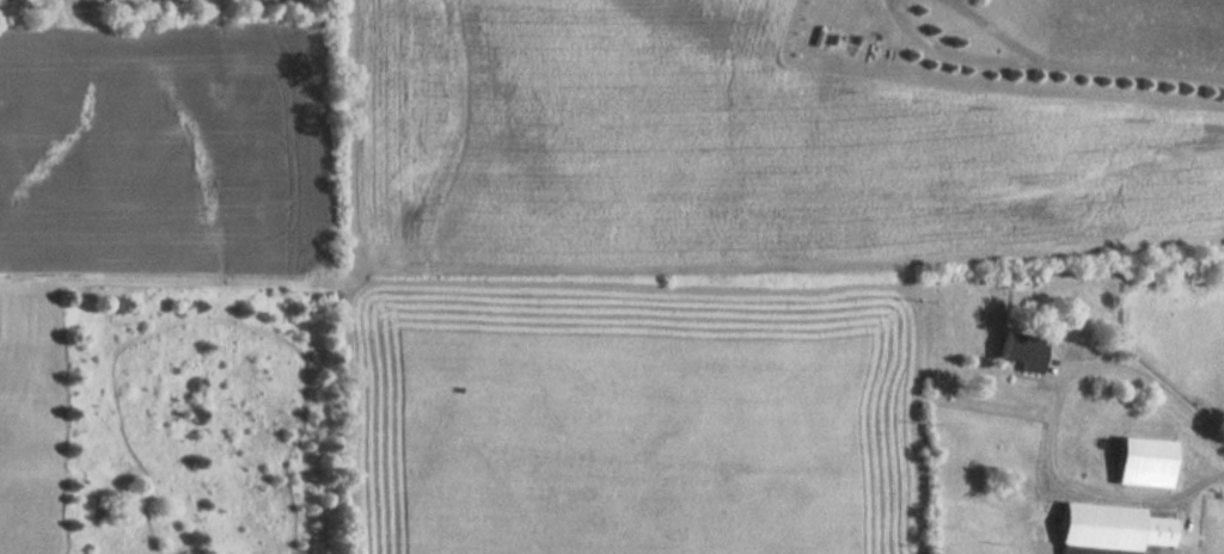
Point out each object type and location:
road: (993, 31)
road: (954, 55)
road: (1131, 70)
building: (1021, 352)
road: (1053, 424)
building: (1144, 461)
building: (1110, 529)

